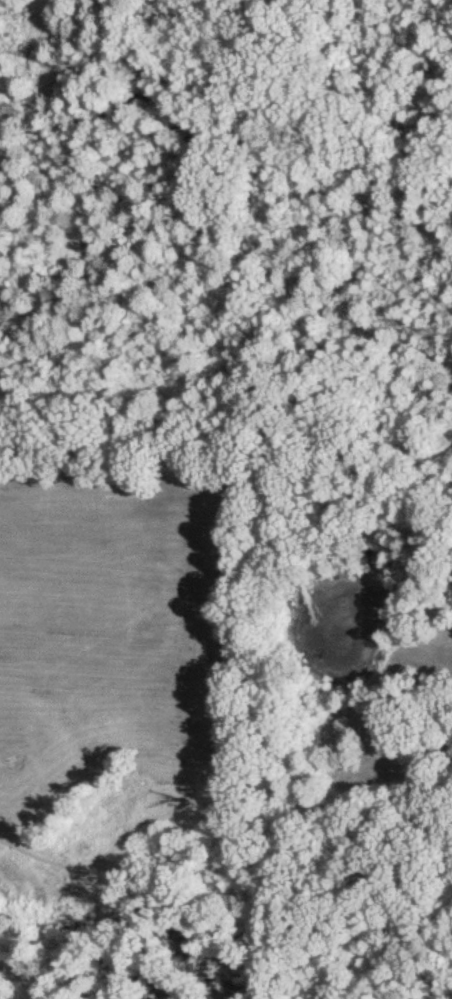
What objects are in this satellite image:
building: (2, 758)

